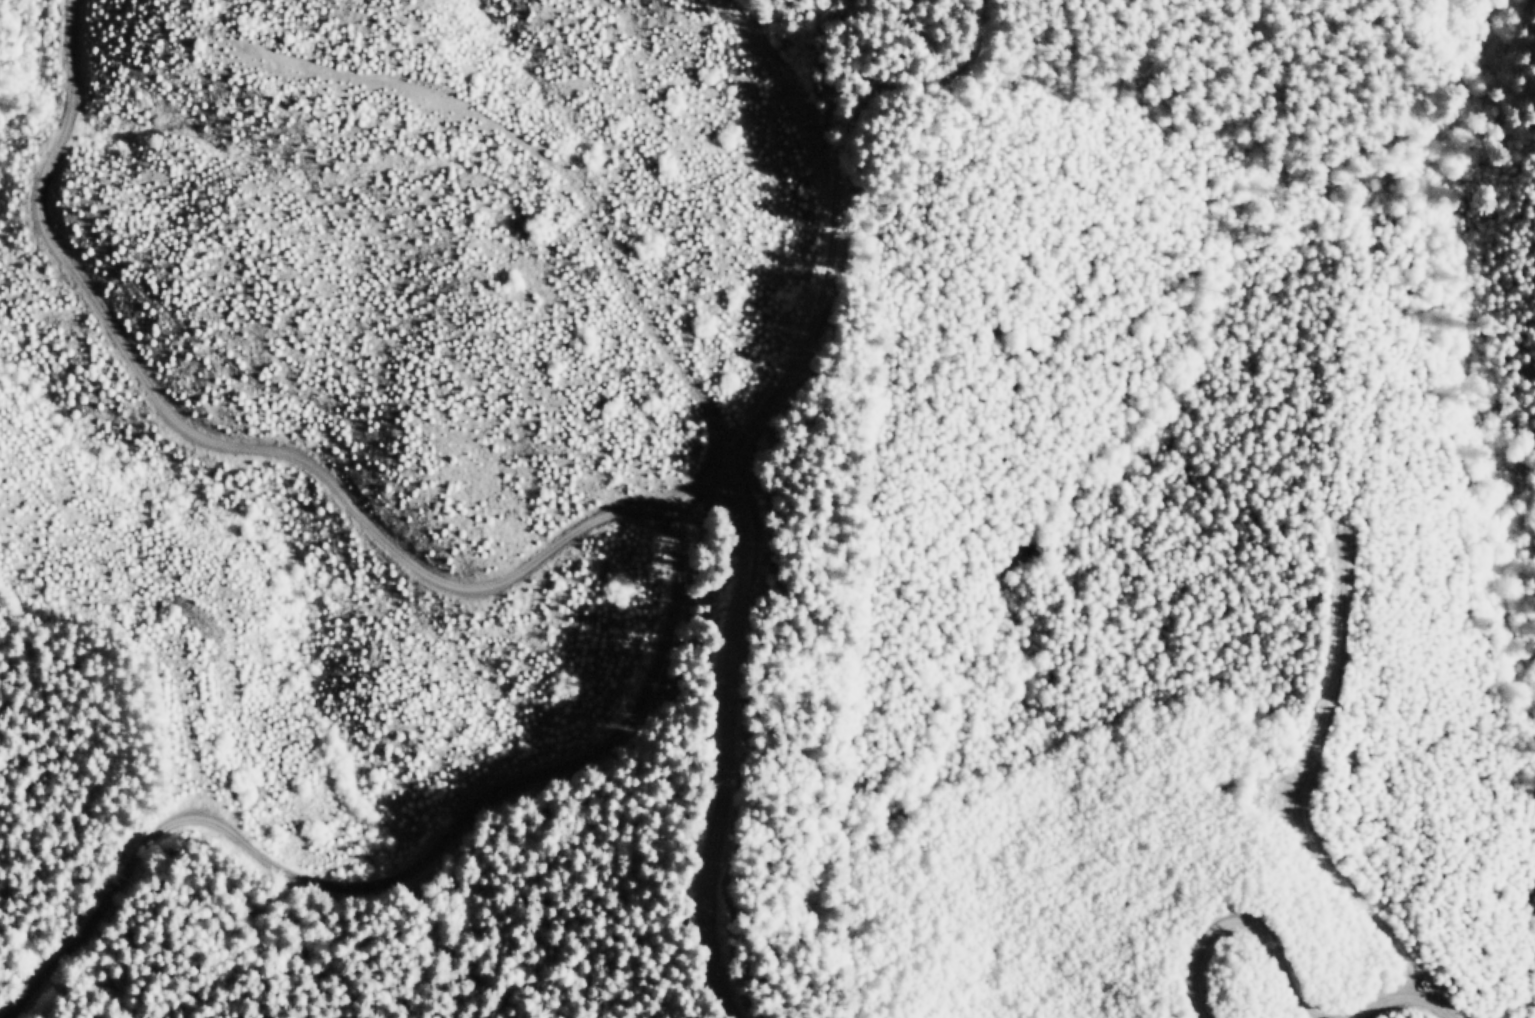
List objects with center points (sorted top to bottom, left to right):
road: (674, 520)
road: (1444, 974)

